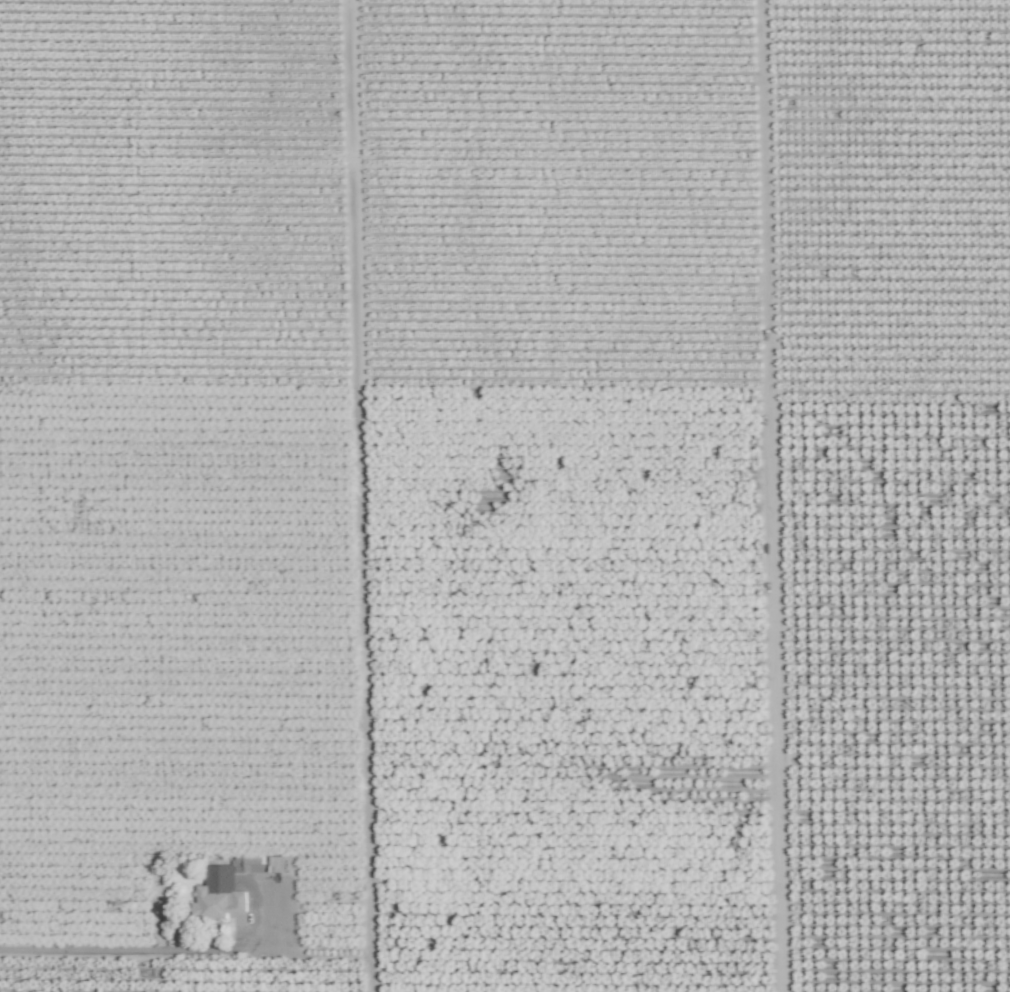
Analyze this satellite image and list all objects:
building: (223, 889)
road: (164, 947)

